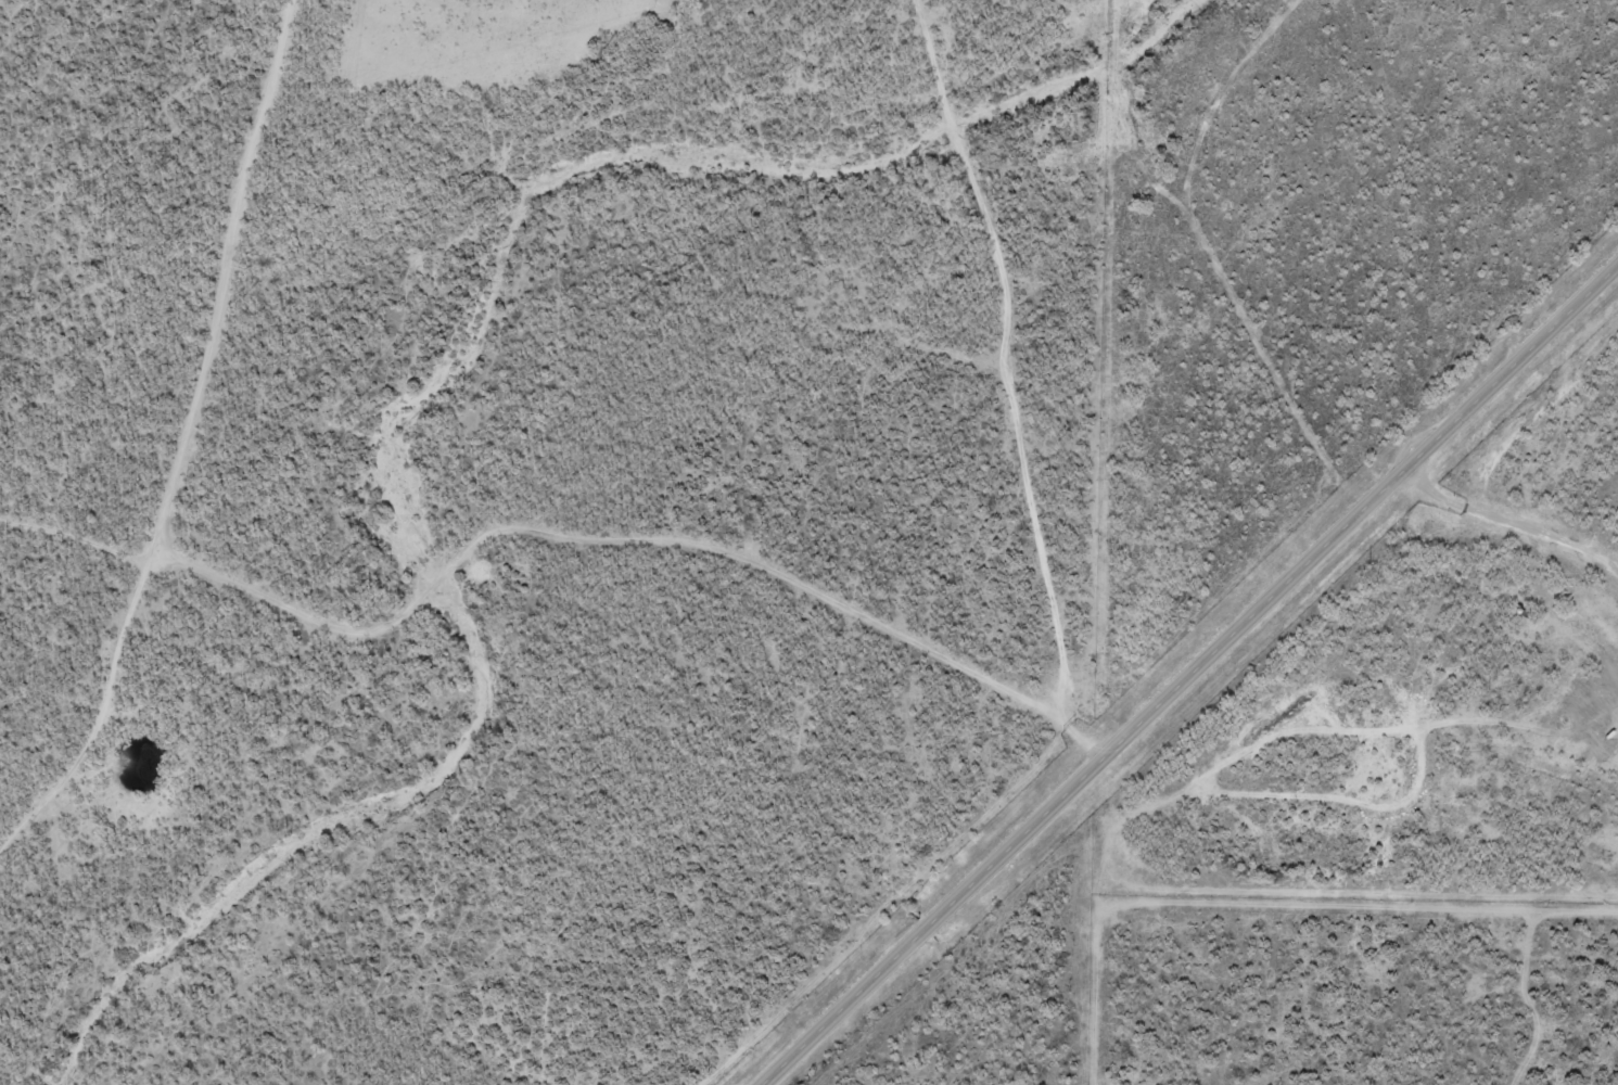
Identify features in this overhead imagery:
road: (78, 131)
road: (1022, 363)
road: (1189, 675)
road: (1321, 880)

